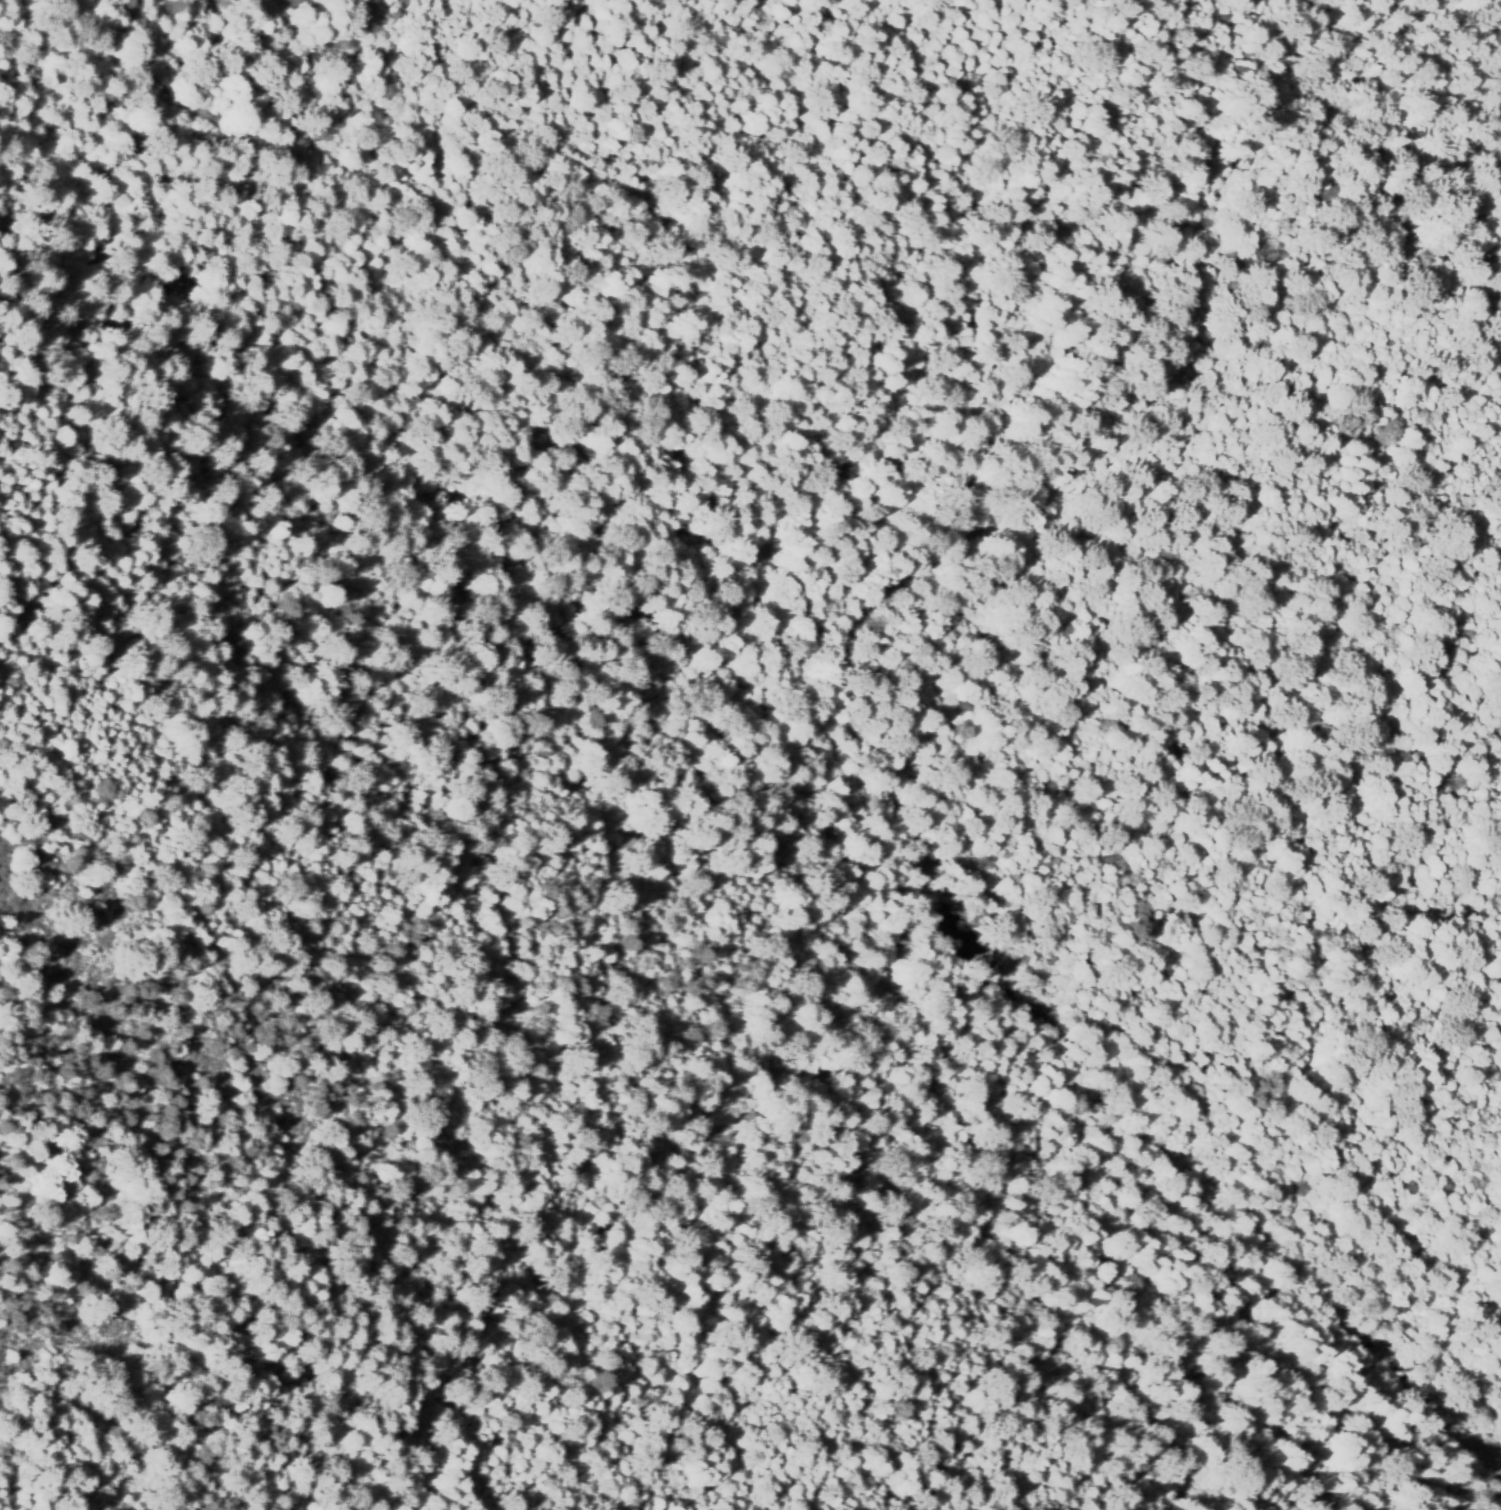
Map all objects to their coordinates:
road: (1491, 16)
road: (787, 159)
road: (866, 639)

